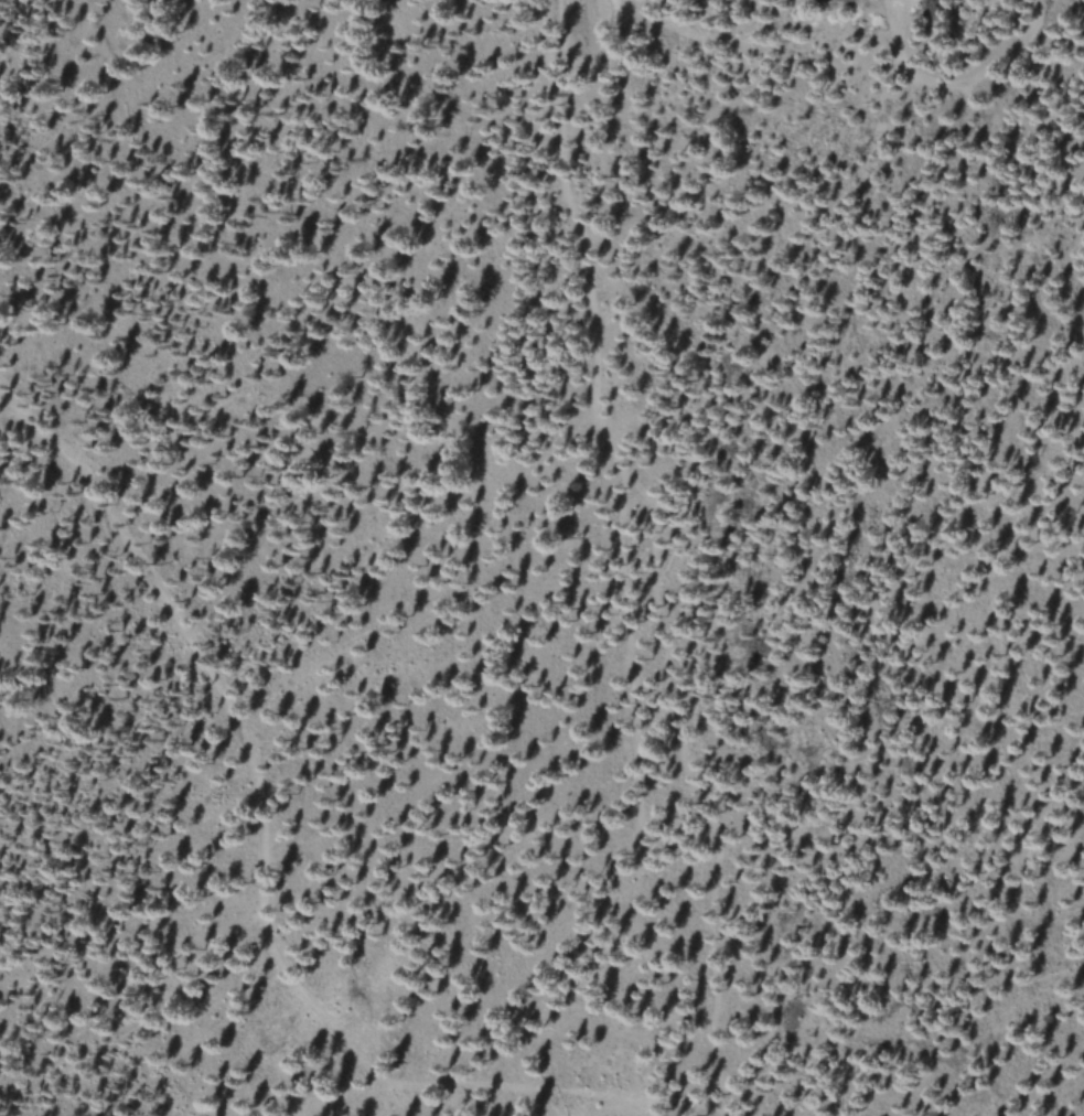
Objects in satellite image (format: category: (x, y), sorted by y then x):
road: (264, 883)

